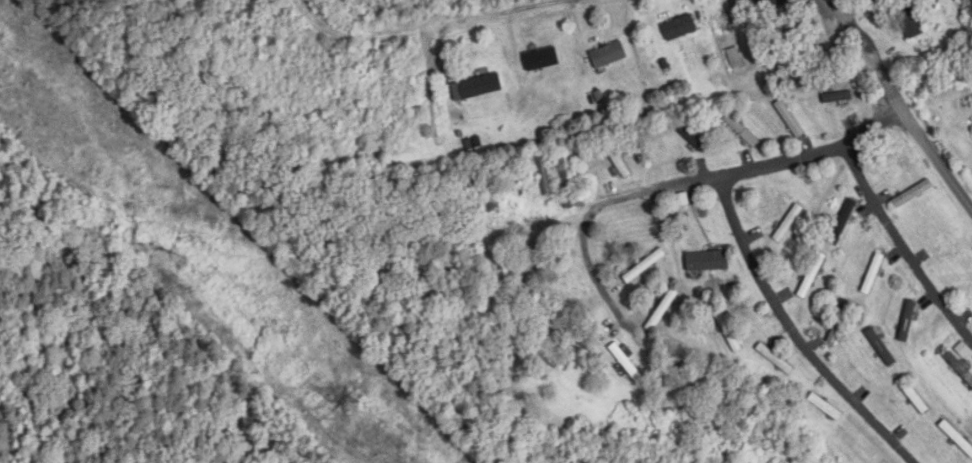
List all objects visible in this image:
building: (776, 7)
road: (511, 11)
building: (911, 23)
building: (680, 29)
building: (609, 56)
building: (735, 59)
building: (542, 60)
building: (477, 88)
building: (838, 98)
road: (902, 102)
building: (790, 120)
building: (742, 131)
building: (692, 139)
building: (618, 161)
building: (545, 175)
building: (565, 175)
road: (671, 189)
building: (912, 195)
building: (843, 222)
building: (789, 224)
road: (898, 253)
building: (952, 254)
building: (708, 261)
building: (645, 266)
building: (873, 274)
building: (812, 276)
building: (664, 309)
building: (908, 321)
building: (841, 322)
building: (729, 331)
road: (787, 335)
building: (881, 347)
building: (776, 359)
building: (626, 362)
building: (959, 367)
building: (914, 396)
power tower: (342, 398)
building: (826, 407)
building: (957, 438)

